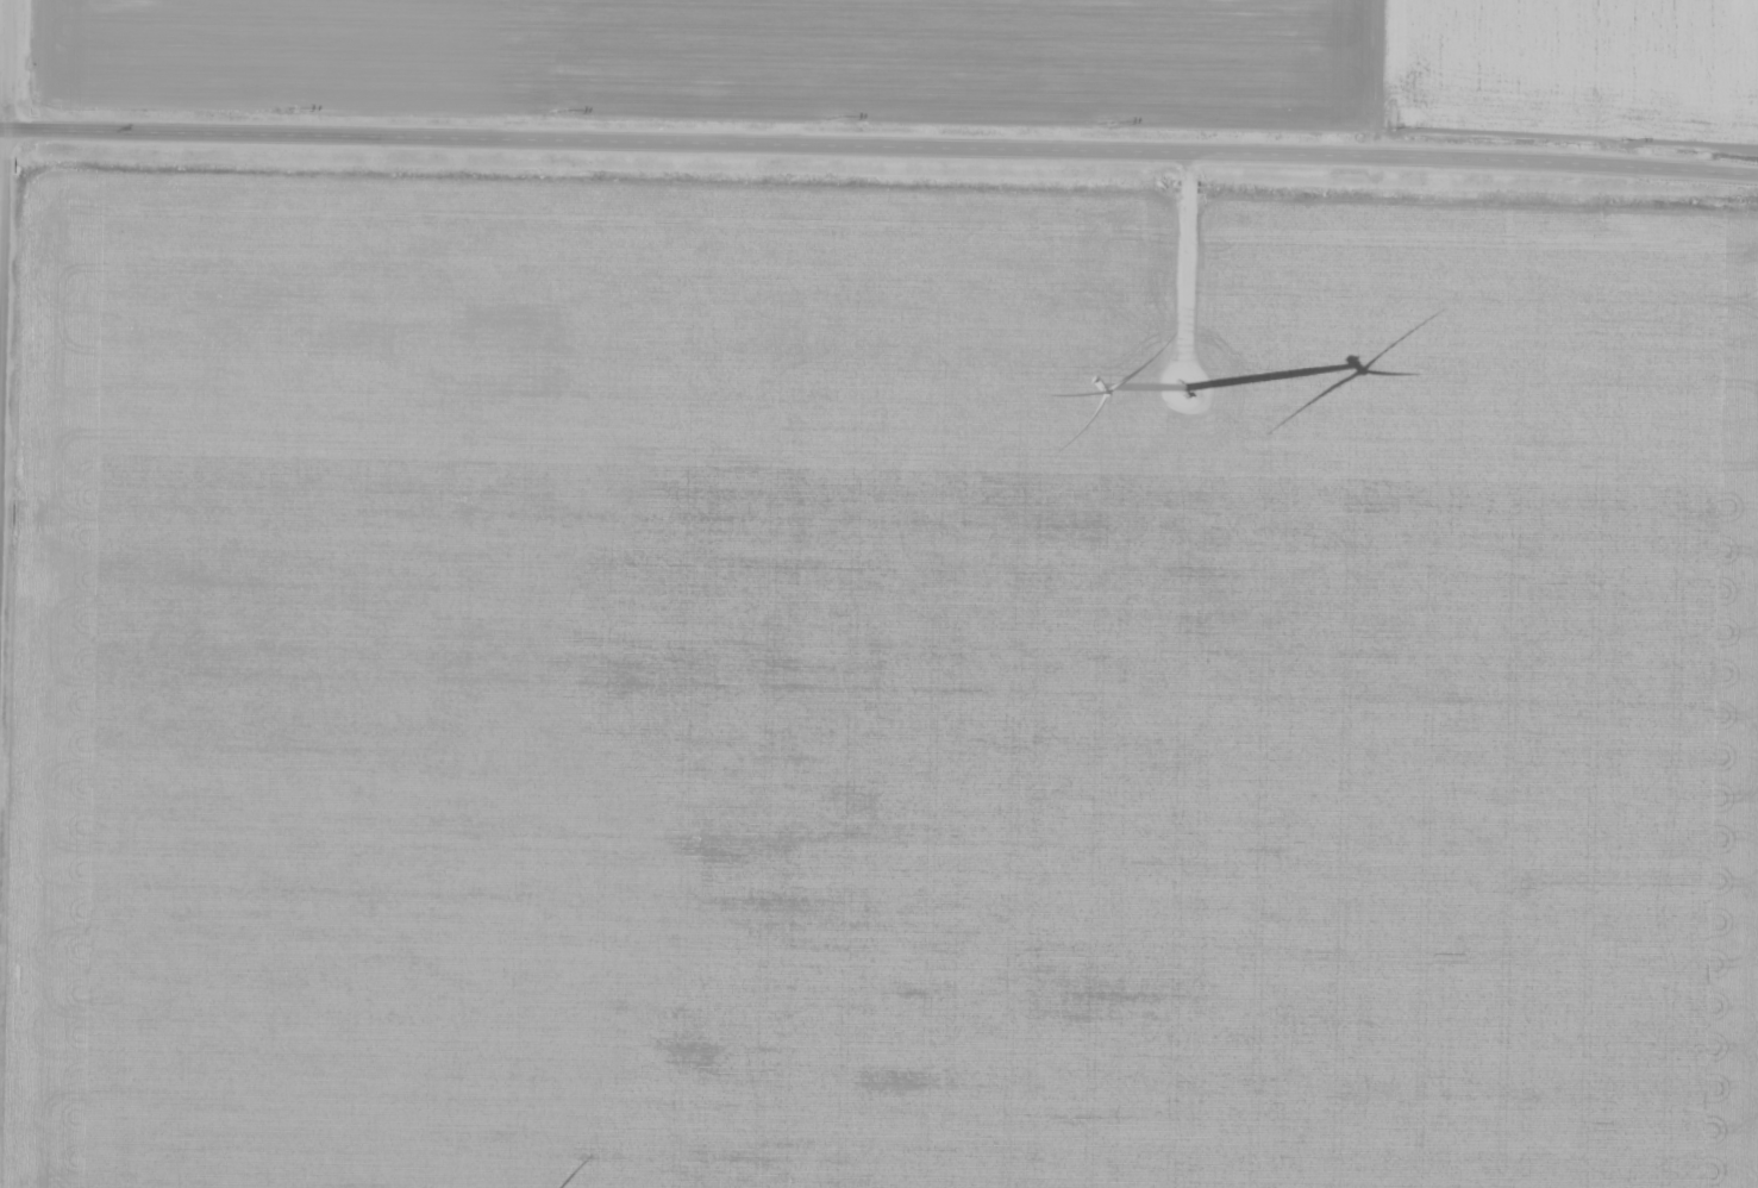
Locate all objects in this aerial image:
road: (0, 33)
road: (878, 149)
wind turbine: (1181, 369)

